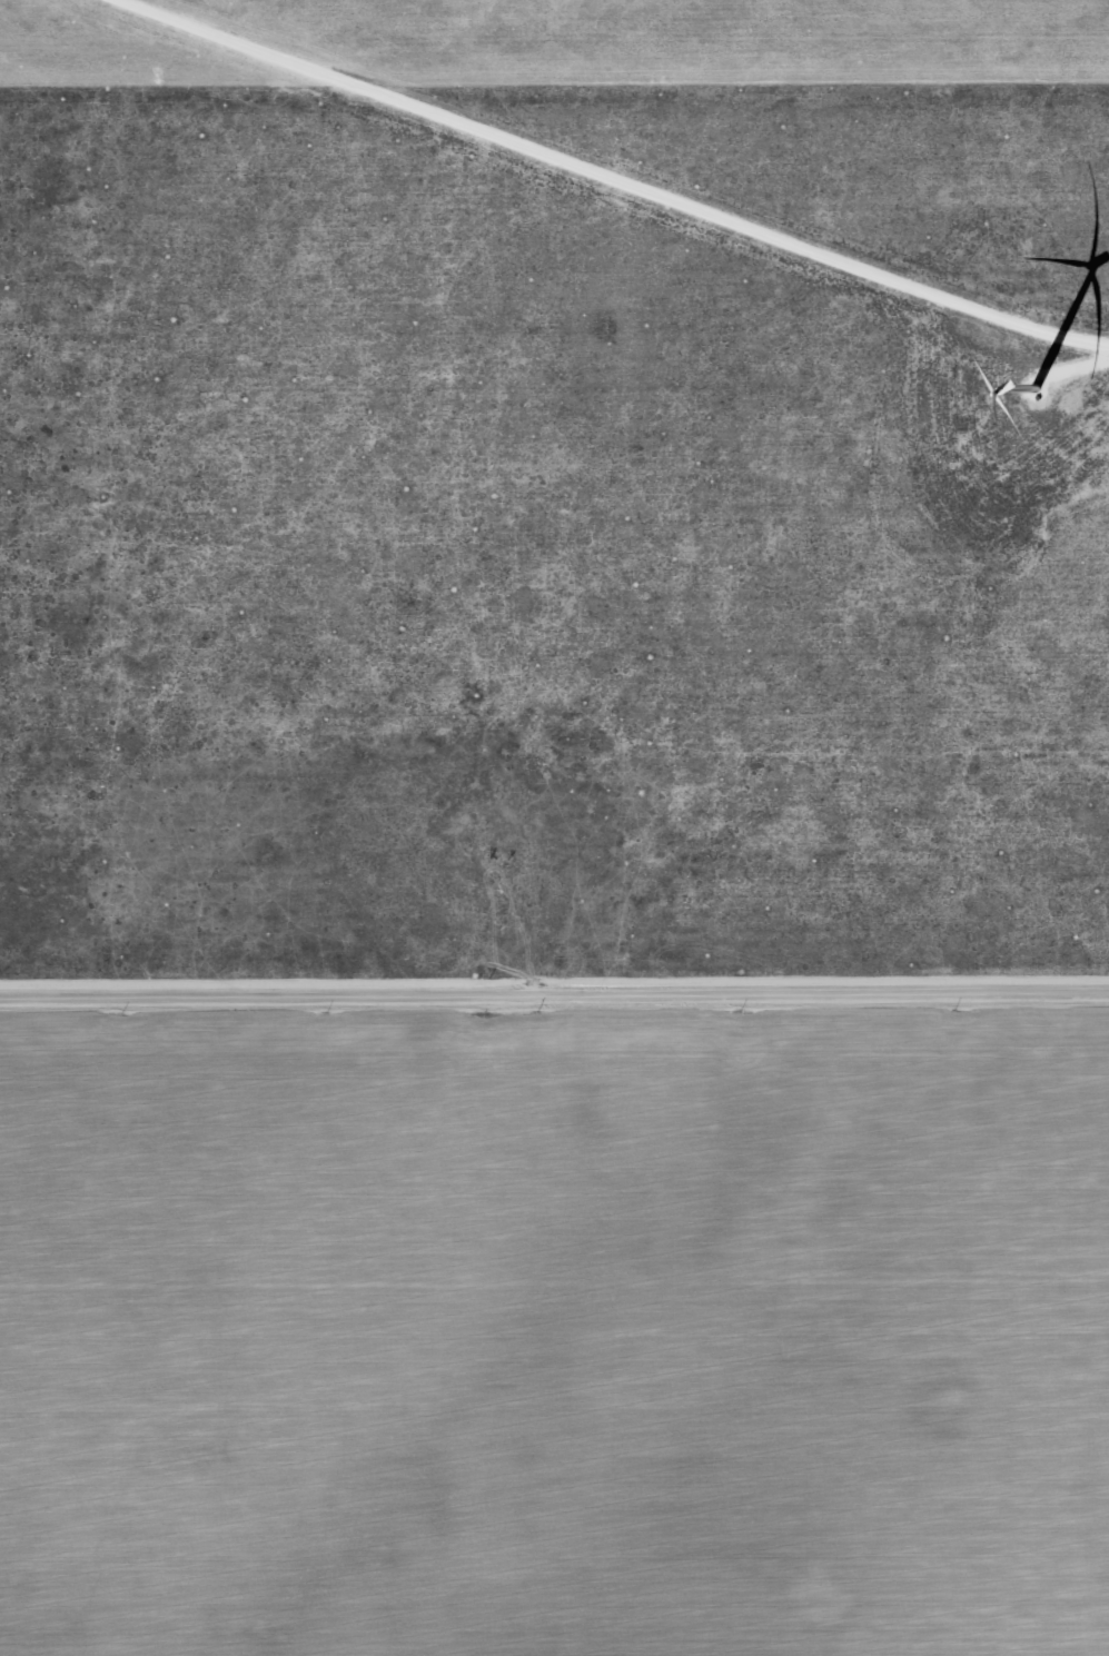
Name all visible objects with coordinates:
road: (611, 179)
road: (1078, 366)
wind turbine: (1030, 395)
road: (554, 989)

